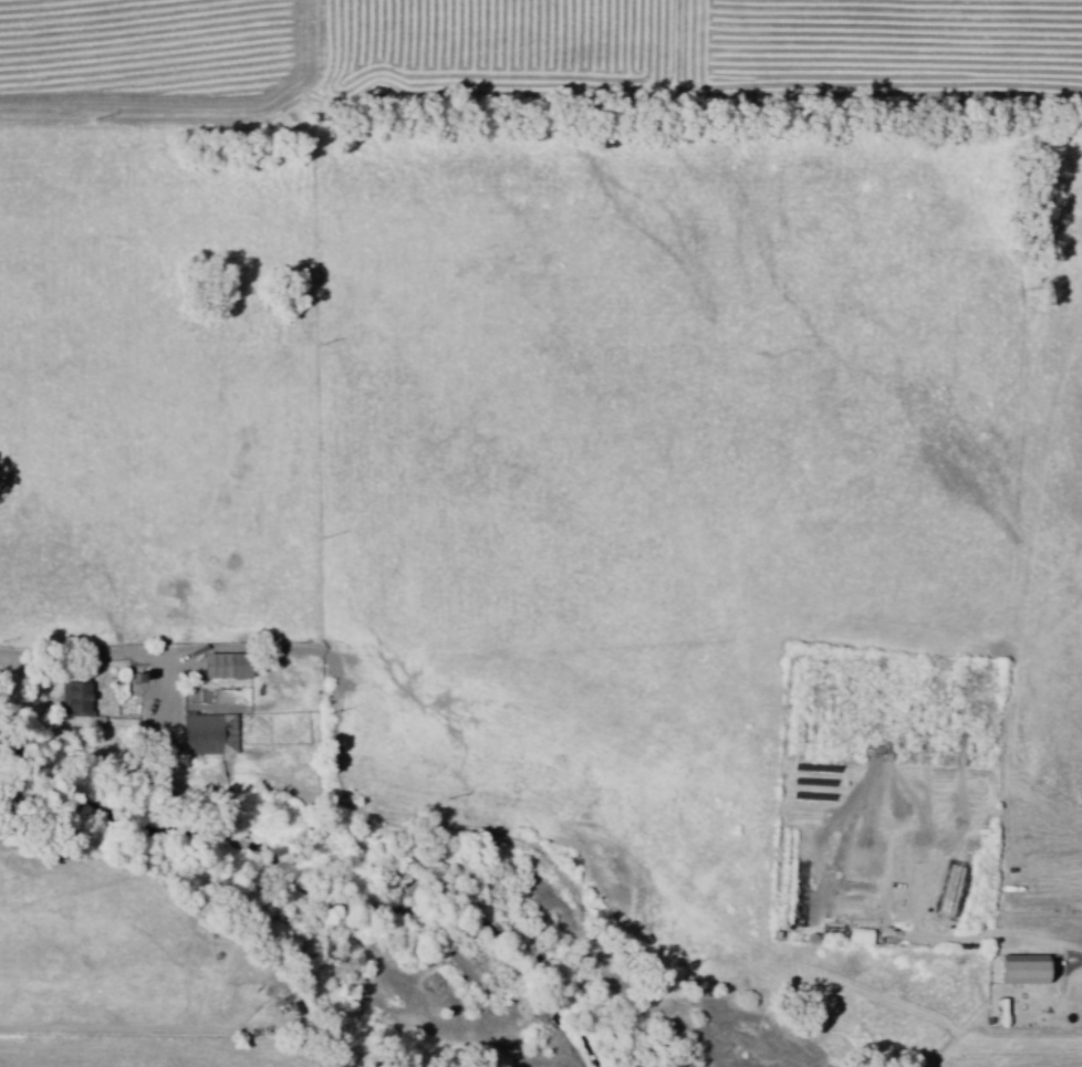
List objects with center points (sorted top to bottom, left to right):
building: (220, 667)
building: (72, 699)
building: (206, 734)
building: (1017, 970)

